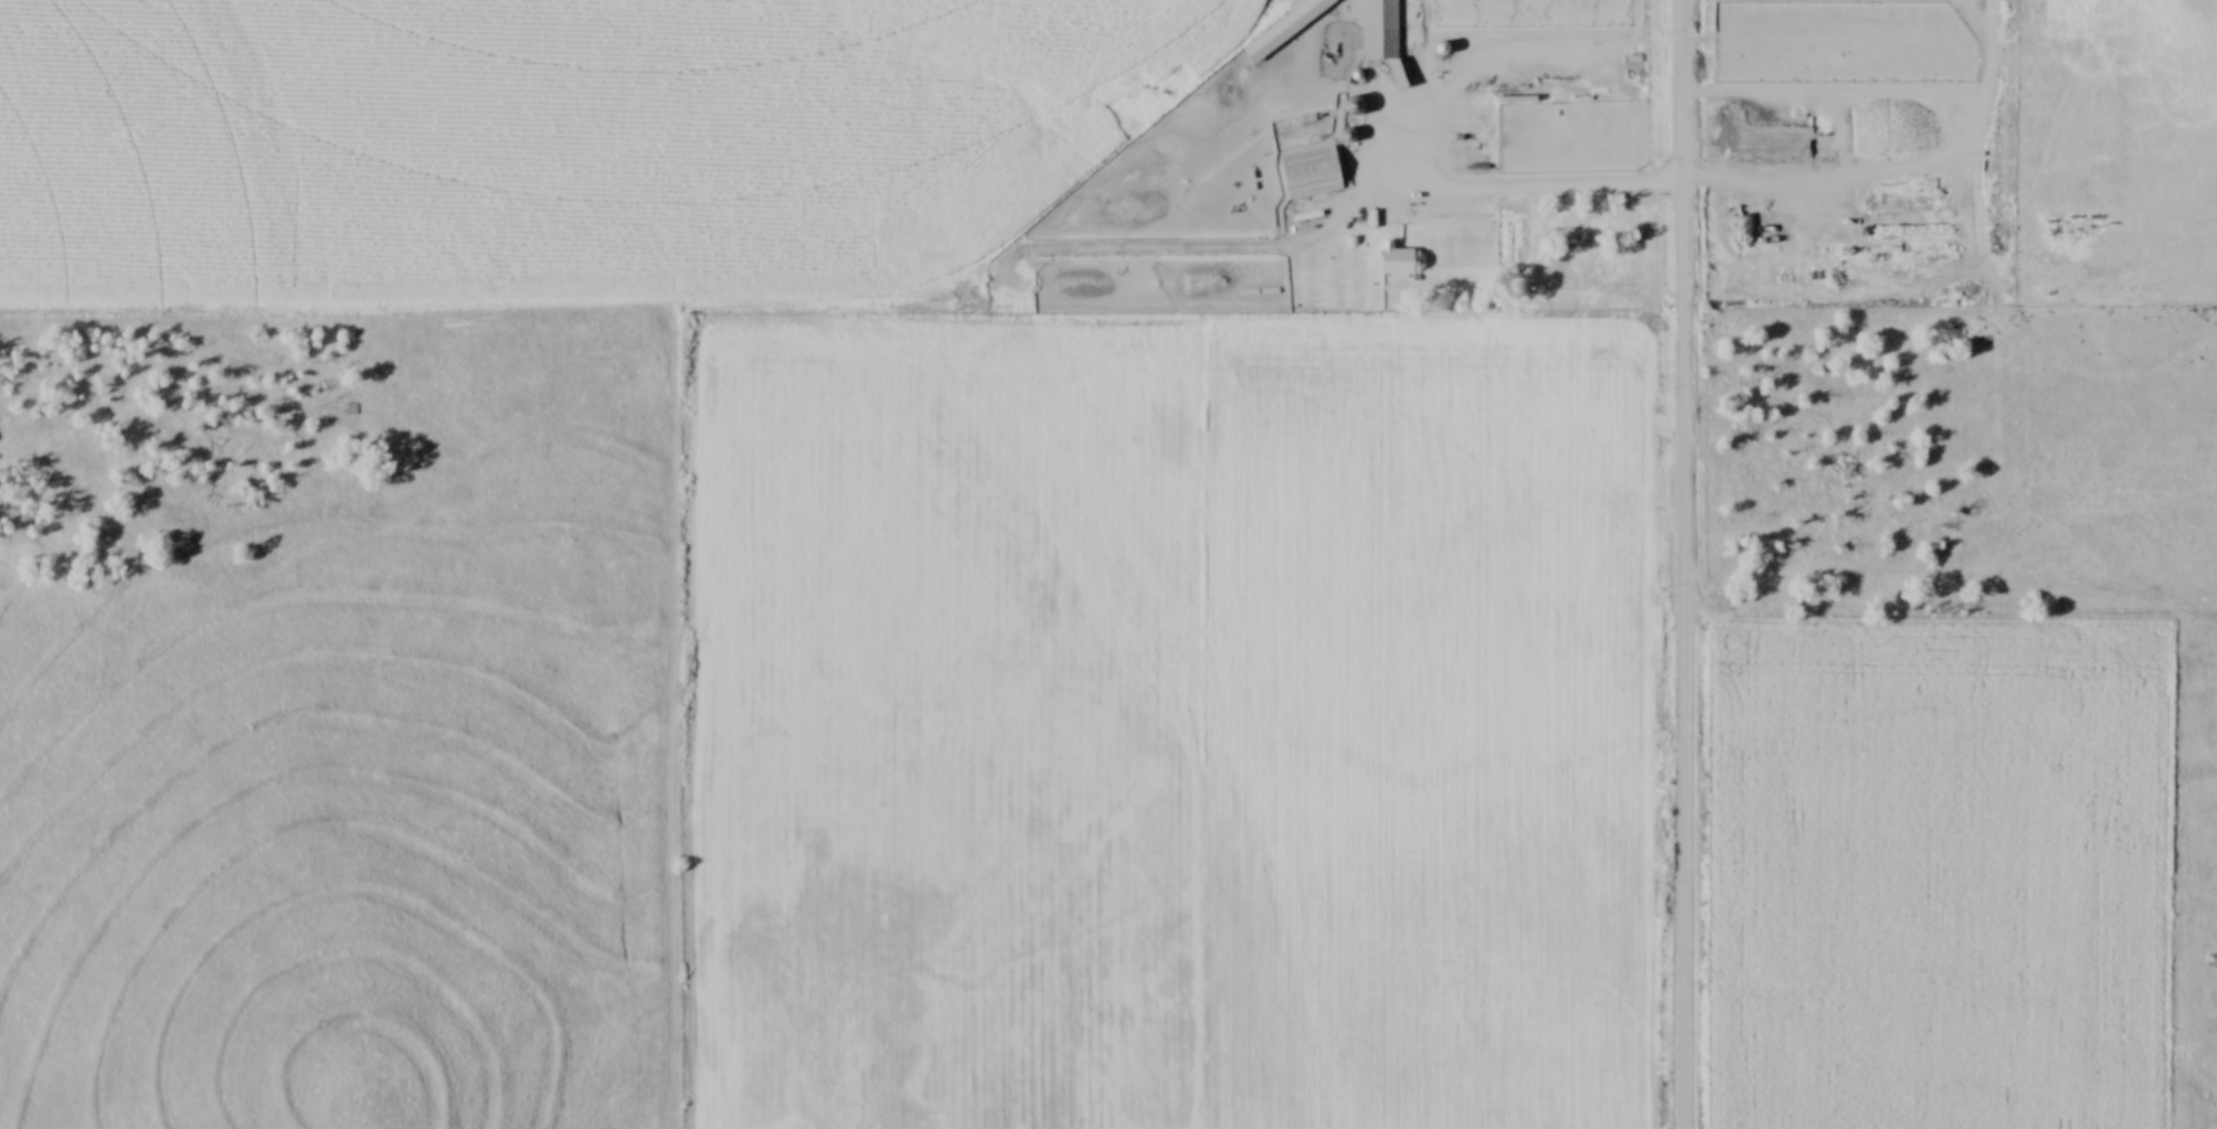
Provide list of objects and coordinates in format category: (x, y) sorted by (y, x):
road: (1880, 95)
building: (1311, 173)
road: (1655, 184)
building: (1400, 259)
road: (1686, 564)

